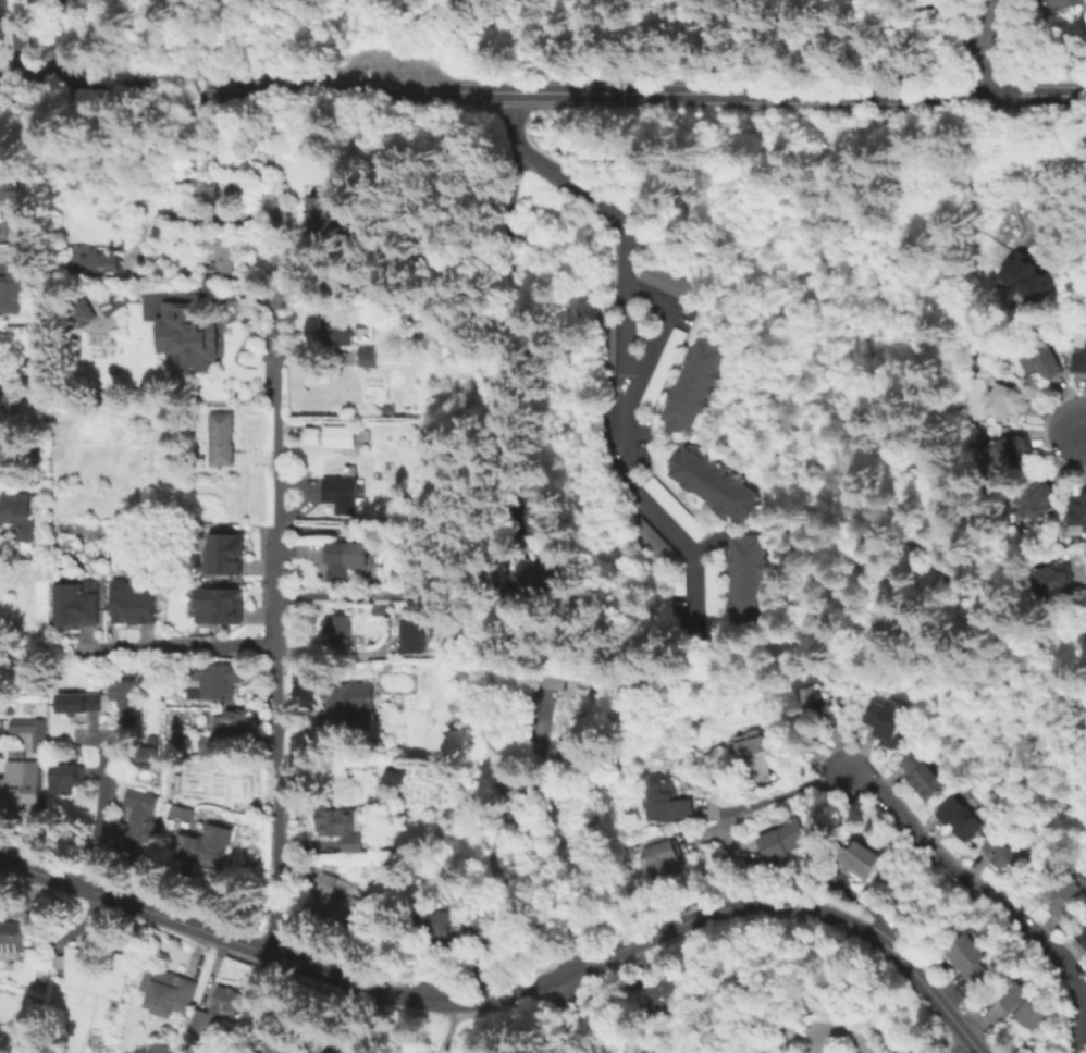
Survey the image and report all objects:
building: (1052, 5)
road: (954, 32)
road: (21, 42)
road: (63, 42)
road: (988, 47)
road: (494, 90)
road: (1037, 94)
building: (218, 191)
building: (18, 208)
building: (325, 209)
building: (223, 255)
building: (102, 260)
building: (1020, 278)
building: (665, 281)
building: (16, 283)
building: (378, 288)
road: (655, 325)
building: (337, 332)
building: (190, 338)
road: (497, 345)
building: (367, 356)
road: (622, 358)
building: (1039, 359)
building: (1079, 366)
building: (661, 368)
building: (693, 383)
building: (1007, 401)
building: (1, 402)
building: (386, 409)
road: (1082, 431)
building: (309, 434)
building: (337, 435)
building: (222, 437)
building: (1008, 451)
building: (713, 483)
building: (340, 493)
building: (1037, 501)
building: (672, 508)
building: (17, 513)
building: (1076, 513)
building: (226, 556)
building: (344, 558)
building: (421, 571)
building: (544, 580)
building: (745, 581)
building: (1051, 582)
road: (1083, 584)
road: (349, 595)
building: (709, 597)
building: (136, 602)
building: (78, 604)
building: (220, 608)
building: (381, 609)
building: (338, 628)
road: (274, 631)
building: (417, 640)
road: (187, 647)
building: (555, 677)
building: (220, 680)
building: (126, 696)
building: (536, 702)
building: (353, 704)
building: (12, 705)
building: (81, 705)
building: (811, 705)
building: (886, 718)
building: (226, 723)
building: (36, 731)
building: (210, 744)
building: (148, 757)
building: (754, 757)
building: (63, 775)
building: (922, 775)
building: (514, 786)
building: (22, 790)
road: (760, 802)
building: (668, 803)
building: (180, 812)
road: (100, 814)
building: (137, 818)
building: (960, 818)
building: (340, 825)
building: (789, 839)
building: (205, 845)
building: (859, 855)
building: (1004, 856)
building: (663, 859)
building: (326, 882)
building: (1063, 894)
road: (992, 897)
building: (346, 907)
building: (435, 926)
building: (13, 934)
building: (1082, 940)
building: (971, 954)
building: (98, 970)
building: (166, 990)
road: (515, 990)
building: (668, 992)
building: (1025, 1004)
building: (218, 1008)
road: (569, 1011)
road: (449, 1028)
road: (834, 1029)
building: (331, 1045)
road: (959, 1045)
building: (159, 1046)

